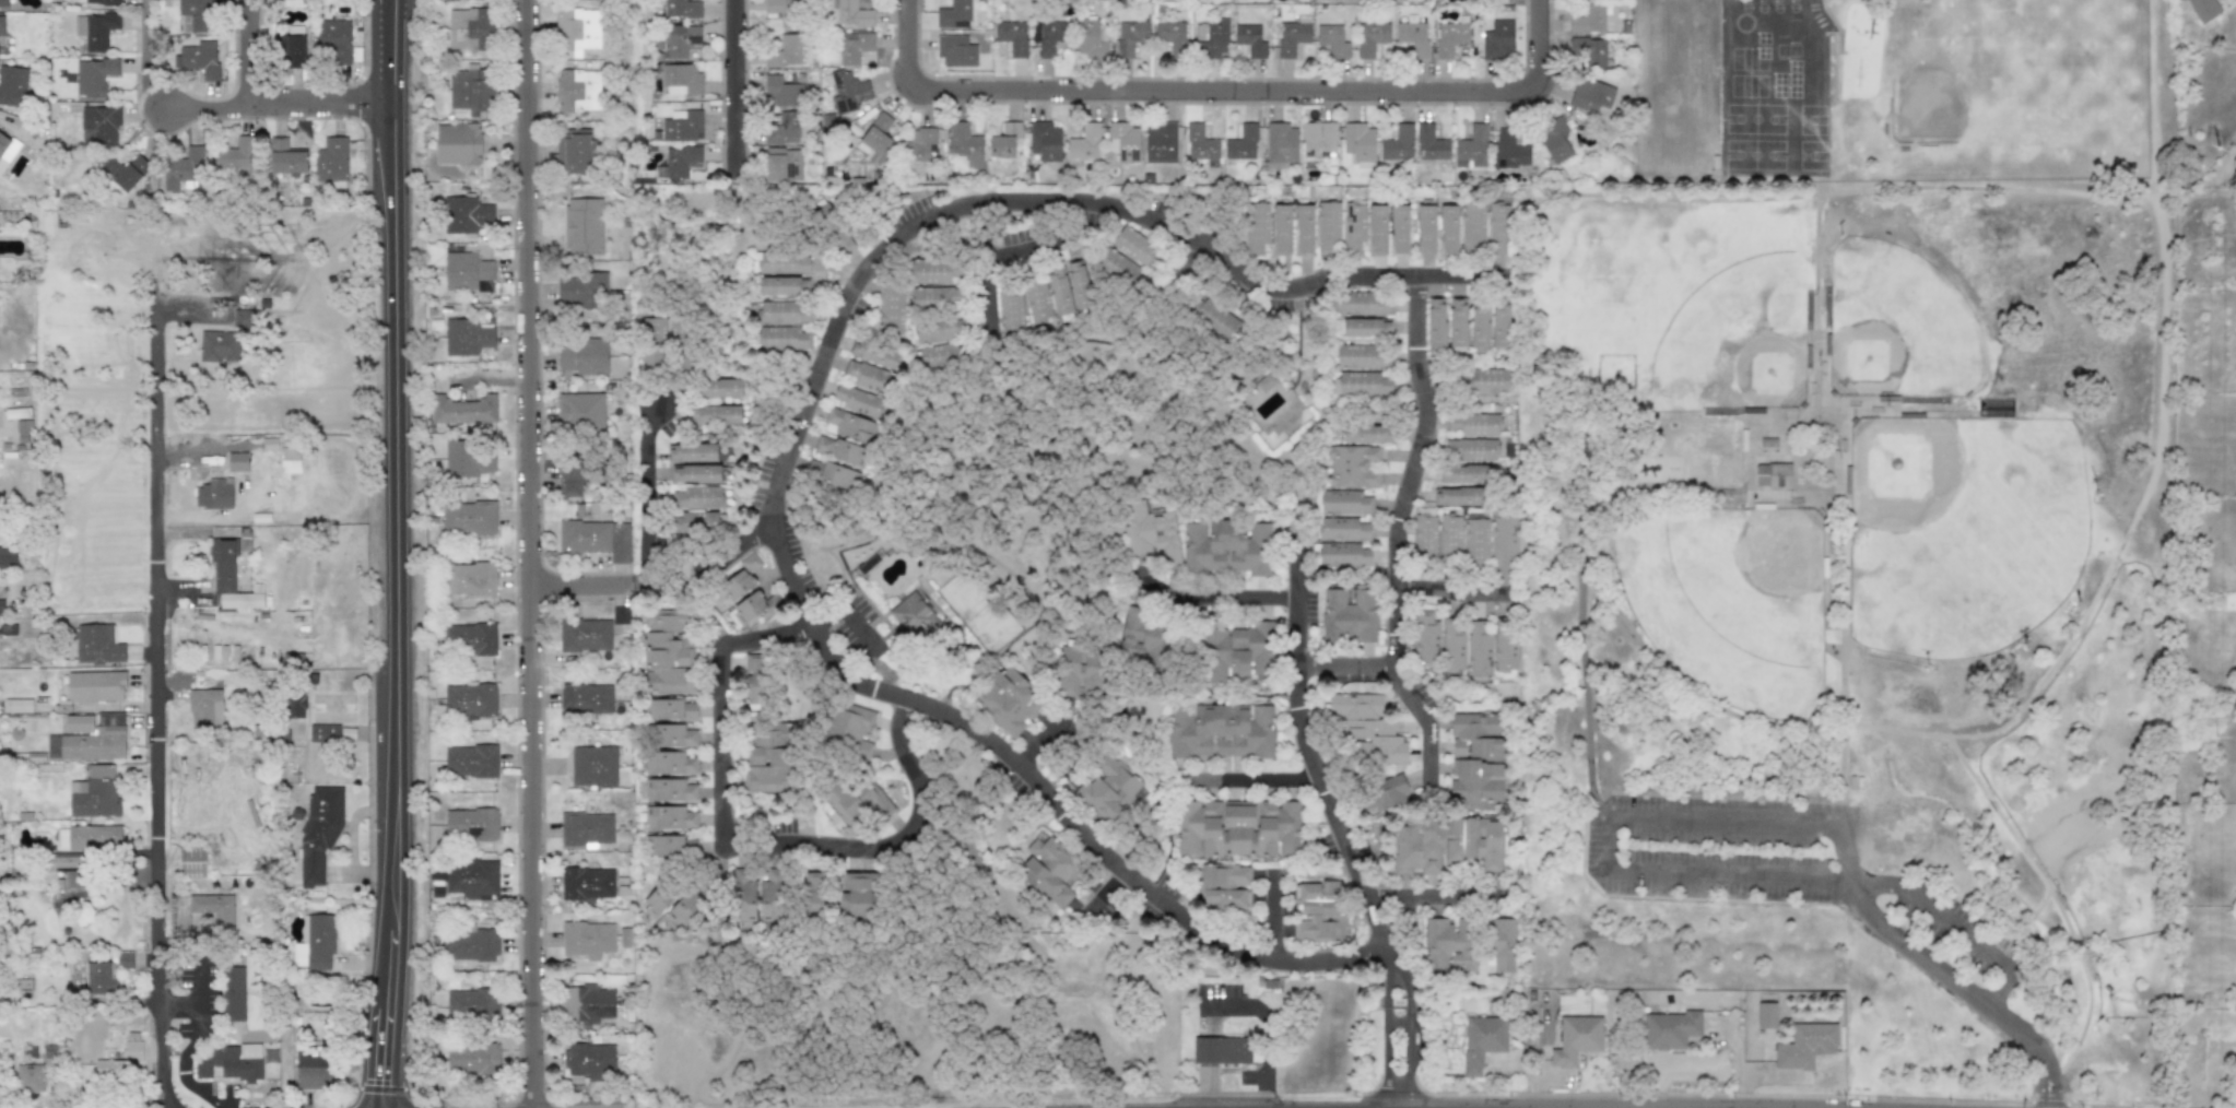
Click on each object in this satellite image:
building: (96, 2)
building: (3, 3)
building: (682, 8)
building: (2202, 9)
building: (784, 12)
road: (531, 13)
building: (953, 13)
building: (850, 14)
building: (195, 15)
building: (1588, 20)
building: (1, 25)
building: (470, 27)
building: (96, 30)
building: (576, 31)
building: (1130, 35)
building: (1012, 36)
building: (1050, 36)
building: (1172, 36)
building: (1291, 37)
building: (1413, 37)
building: (1449, 37)
building: (1091, 38)
building: (1212, 38)
building: (1370, 38)
building: (680, 39)
building: (1250, 39)
building: (1332, 39)
building: (1497, 39)
building: (336, 40)
building: (296, 45)
building: (854, 46)
building: (786, 50)
building: (955, 50)
building: (1591, 52)
road: (252, 54)
building: (196, 56)
road: (148, 59)
building: (93, 75)
building: (680, 79)
building: (12, 85)
building: (471, 87)
building: (578, 89)
building: (848, 89)
building: (782, 90)
road: (1224, 90)
building: (1590, 94)
road: (739, 95)
road: (276, 106)
building: (101, 123)
building: (681, 125)
building: (780, 127)
building: (876, 133)
building: (1318, 138)
building: (1003, 140)
building: (1554, 140)
building: (3, 141)
building: (1045, 141)
building: (1123, 141)
building: (457, 142)
building: (1161, 142)
building: (1280, 142)
building: (919, 143)
building: (1199, 143)
building: (1241, 143)
building: (1429, 143)
building: (964, 144)
building: (1083, 144)
building: (1358, 144)
building: (1397, 144)
building: (1471, 148)
building: (1509, 150)
building: (573, 151)
building: (234, 154)
building: (287, 156)
building: (331, 158)
building: (678, 161)
building: (781, 163)
building: (183, 169)
building: (125, 172)
road: (1582, 195)
building: (464, 214)
building: (1257, 223)
building: (578, 225)
building: (1353, 227)
building: (1473, 227)
building: (1328, 228)
building: (1282, 229)
building: (1304, 229)
building: (1377, 229)
building: (1399, 229)
building: (1425, 229)
building: (1449, 229)
building: (1498, 229)
building: (1134, 246)
road: (1019, 251)
road: (1823, 259)
building: (781, 263)
building: (467, 271)
building: (934, 271)
building: (784, 285)
building: (1079, 285)
road: (1174, 285)
building: (581, 290)
building: (1059, 292)
road: (982, 295)
building: (934, 297)
building: (1037, 299)
building: (1361, 303)
building: (1010, 308)
building: (892, 309)
road: (193, 311)
building: (785, 311)
building: (243, 318)
building: (1216, 319)
building: (1456, 322)
building: (1479, 326)
building: (1499, 326)
park: (1897, 326)
building: (1365, 327)
building: (940, 330)
building: (466, 337)
building: (782, 338)
park: (1737, 339)
building: (219, 346)
building: (875, 354)
building: (942, 355)
building: (1360, 356)
building: (582, 357)
park: (1866, 358)
park: (1769, 373)
building: (868, 377)
building: (1263, 380)
building: (1485, 380)
building: (1361, 384)
building: (720, 388)
building: (858, 401)
building: (462, 410)
building: (581, 410)
road: (1680, 410)
road: (1891, 411)
building: (716, 414)
building: (1478, 424)
building: (848, 425)
building: (24, 432)
building: (1366, 433)
building: (1768, 443)
building: (839, 449)
building: (1471, 449)
road: (1755, 451)
building: (692, 452)
road: (789, 452)
building: (468, 459)
building: (290, 460)
building: (1351, 467)
road: (1409, 471)
park: (1902, 471)
building: (696, 473)
building: (1463, 473)
building: (838, 476)
building: (575, 481)
road: (1705, 490)
building: (214, 493)
building: (1457, 496)
building: (696, 497)
road: (645, 500)
building: (1344, 503)
building: (469, 518)
building: (1342, 528)
building: (1150, 530)
park: (1961, 531)
building: (1424, 535)
building: (584, 537)
building: (1449, 537)
building: (1475, 538)
building: (1503, 541)
building: (1226, 547)
park: (1778, 551)
building: (1342, 553)
road: (391, 554)
building: (8, 557)
road: (707, 558)
road: (530, 566)
building: (231, 577)
building: (470, 578)
road: (578, 582)
building: (746, 591)
road: (1450, 593)
park: (1728, 600)
building: (1, 601)
road: (1226, 602)
building: (2070, 609)
park: (1856, 612)
building: (911, 613)
building: (1352, 613)
building: (621, 615)
building: (1143, 632)
building: (585, 634)
building: (1426, 638)
building: (475, 639)
building: (97, 644)
building: (1454, 645)
building: (1505, 645)
building: (1479, 649)
building: (2015, 649)
building: (668, 650)
building: (1235, 652)
road: (1341, 665)
road: (163, 667)
building: (1076, 669)
building: (753, 679)
building: (95, 686)
road: (1588, 691)
building: (586, 699)
building: (469, 700)
building: (1009, 702)
building: (204, 707)
building: (672, 710)
building: (78, 722)
road: (1044, 729)
building: (852, 730)
building: (1223, 732)
building: (1364, 732)
building: (323, 733)
building: (348, 733)
road: (1427, 733)
building: (676, 736)
building: (96, 740)
building: (1478, 755)
building: (470, 761)
road: (1843, 762)
building: (670, 763)
building: (767, 764)
building: (592, 765)
building: (99, 771)
road: (1243, 788)
building: (1113, 790)
building: (671, 791)
building: (1378, 795)
building: (92, 798)
building: (858, 802)
building: (670, 817)
road: (1725, 823)
building: (471, 824)
building: (319, 829)
building: (1237, 830)
building: (89, 837)
building: (1447, 844)
road: (1610, 849)
road: (2023, 849)
road: (1345, 854)
road: (1846, 857)
building: (191, 862)
road: (755, 863)
building: (1049, 870)
road: (1735, 876)
building: (471, 877)
building: (74, 880)
building: (586, 883)
building: (1228, 889)
building: (812, 894)
building: (857, 895)
building: (772, 898)
road: (1437, 898)
building: (744, 901)
road: (1103, 901)
building: (656, 903)
building: (213, 908)
building: (1319, 911)
building: (679, 916)
road: (1952, 924)
building: (587, 939)
building: (318, 942)
building: (471, 945)
building: (1474, 946)
building: (125, 960)
building: (99, 978)
road: (1964, 988)
road: (2088, 992)
building: (234, 994)
building: (471, 1003)
building: (587, 1004)
road: (1266, 1026)
building: (1760, 1027)
building: (1676, 1029)
building: (1576, 1038)
building: (1482, 1039)
building: (1222, 1048)
building: (1805, 1050)
building: (132, 1051)
building: (51, 1056)
building: (270, 1057)
building: (472, 1059)
building: (588, 1061)
building: (228, 1062)
road: (1741, 1063)
building: (113, 1070)
building: (315, 1070)
building: (30, 1078)

